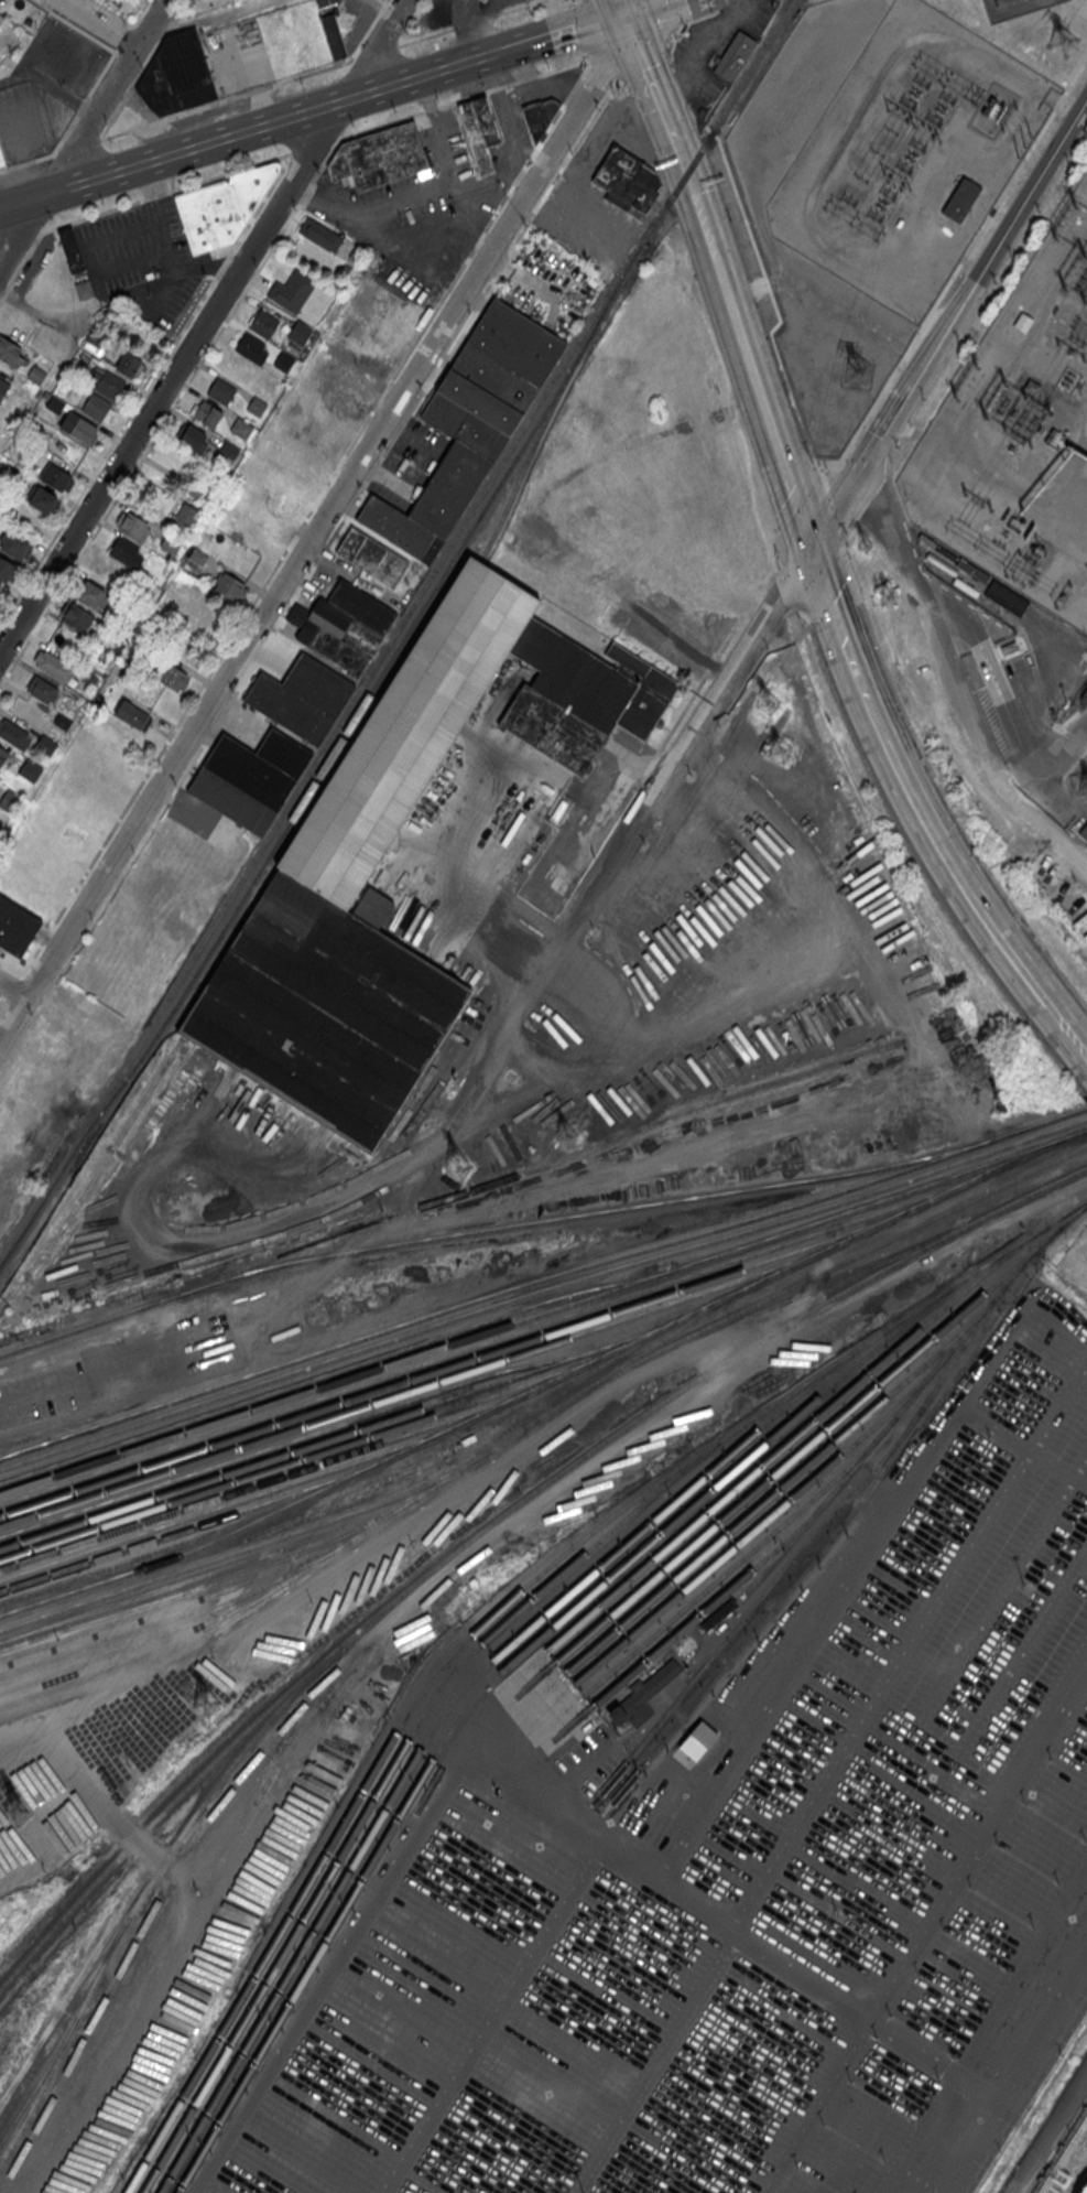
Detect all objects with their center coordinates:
building: (481, 0)
building: (486, 0)
building: (326, 2)
road: (578, 2)
road: (383, 7)
power substation: (1013, 7)
road: (653, 8)
road: (624, 9)
road: (457, 11)
road: (115, 12)
road: (139, 13)
road: (1068, 17)
road: (1083, 17)
traffic signals: (629, 18)
road: (660, 18)
road: (202, 20)
road: (475, 20)
road: (470, 22)
road: (95, 24)
road: (75, 26)
road: (140, 28)
road: (368, 30)
road: (584, 30)
road: (574, 31)
building: (334, 35)
road: (123, 37)
power tower: (1063, 41)
road: (667, 42)
road: (374, 45)
road: (61, 51)
road: (501, 51)
road: (376, 52)
parking lot: (66, 54)
road: (628, 54)
building: (732, 54)
road: (122, 56)
road: (587, 56)
road: (590, 61)
road: (23, 65)
road: (142, 71)
road: (101, 73)
building: (176, 75)
road: (601, 75)
road: (651, 77)
road: (555, 86)
road: (683, 88)
road: (56, 89)
road: (81, 104)
road: (1061, 104)
road: (191, 111)
building: (539, 117)
parking lot: (24, 118)
road: (24, 128)
road: (240, 128)
building: (480, 130)
road: (711, 131)
road: (64, 132)
road: (83, 134)
road: (515, 137)
building: (379, 154)
power substation: (907, 154)
road: (446, 156)
building: (1, 159)
road: (256, 163)
road: (21, 164)
road: (683, 165)
road: (7, 169)
road: (525, 172)
road: (26, 179)
road: (149, 179)
building: (628, 179)
road: (157, 195)
road: (395, 198)
building: (959, 198)
building: (222, 206)
power tower: (1075, 210)
road: (93, 216)
road: (423, 229)
road: (121, 231)
building: (319, 234)
road: (34, 237)
road: (36, 238)
power tower: (1057, 242)
road: (385, 246)
building: (72, 250)
parking lot: (138, 251)
building: (358, 251)
road: (171, 259)
road: (130, 262)
road: (20, 266)
road: (90, 271)
road: (956, 271)
road: (29, 272)
road: (167, 278)
building: (84, 289)
building: (291, 290)
road: (3, 292)
road: (239, 301)
road: (774, 303)
road: (28, 305)
building: (1023, 322)
building: (263, 323)
road: (949, 326)
building: (300, 332)
building: (251, 347)
building: (10, 352)
building: (80, 358)
building: (283, 361)
building: (128, 364)
road: (751, 370)
road: (172, 371)
power tower: (858, 372)
building: (36, 374)
power tower: (975, 374)
building: (492, 378)
building: (105, 380)
building: (3, 387)
road: (144, 389)
building: (220, 390)
building: (55, 403)
building: (257, 404)
power tower: (955, 406)
building: (96, 408)
building: (207, 413)
power tower: (983, 418)
building: (78, 426)
building: (241, 426)
road: (906, 428)
power substation: (1019, 431)
building: (194, 437)
road: (392, 442)
building: (228, 450)
traffic signals: (871, 455)
railway: (524, 464)
building: (54, 475)
building: (449, 488)
road: (797, 496)
building: (40, 497)
road: (826, 503)
road: (306, 517)
building: (182, 518)
road: (896, 525)
building: (132, 526)
building: (395, 526)
road: (317, 529)
road: (771, 530)
road: (764, 540)
building: (171, 542)
building: (13, 543)
power tower: (866, 547)
traffic signals: (809, 550)
building: (126, 552)
building: (197, 555)
building: (372, 557)
building: (166, 569)
building: (6, 571)
road: (769, 574)
building: (229, 585)
building: (93, 594)
road: (783, 594)
road: (825, 596)
building: (1007, 597)
power tower: (888, 598)
building: (361, 606)
road: (945, 611)
building: (75, 616)
railway: (394, 631)
building: (335, 634)
road: (730, 634)
road: (711, 665)
building: (53, 666)
road: (852, 671)
building: (172, 676)
road: (999, 676)
building: (89, 677)
road: (989, 682)
building: (317, 684)
building: (43, 689)
power tower: (769, 704)
railway: (360, 705)
building: (289, 709)
road: (682, 713)
building: (133, 715)
building: (63, 721)
road: (874, 724)
building: (14, 733)
building: (46, 744)
road: (979, 748)
power tower: (781, 750)
building: (284, 753)
building: (3, 754)
road: (1055, 754)
road: (653, 759)
road: (638, 761)
building: (31, 769)
building: (250, 771)
road: (938, 785)
road: (1045, 791)
railway: (329, 799)
building: (11, 800)
building: (232, 801)
building: (1084, 832)
road: (627, 849)
building: (313, 881)
road: (977, 907)
building: (15, 927)
road: (12, 970)
road: (30, 979)
road: (13, 986)
road: (14, 987)
road: (3, 1001)
road: (3, 1003)
road: (13, 1006)
railway: (887, 1066)
railway: (1074, 1112)
railway: (1077, 1121)
railway: (1080, 1132)
power tower: (566, 1139)
railway: (1084, 1144)
railway: (559, 1158)
power tower: (458, 1170)
railway: (95, 1175)
railway: (1025, 1196)
road: (317, 1206)
railway: (491, 1229)
railway: (529, 1282)
railway: (820, 1285)
railway: (532, 1290)
road: (1062, 1310)
railway: (537, 1314)
railway: (684, 1324)
railway: (491, 1341)
railway: (454, 1364)
railway: (336, 1370)
railway: (416, 1385)
railway: (536, 1385)
railway: (523, 1425)
railway: (337, 1436)
railway: (297, 1437)
road: (1022, 1446)
railway: (25, 1447)
railway: (779, 1451)
railway: (796, 1456)
railway: (301, 1458)
road: (1081, 1469)
railway: (263, 1481)
railway: (776, 1490)
railway: (867, 1491)
railway: (227, 1504)
railway: (805, 1522)
railway: (188, 1528)
railway: (753, 1528)
railway: (246, 1546)
railway: (444, 1558)
railway: (725, 1573)
railway: (210, 1581)
road: (848, 1586)
railway: (772, 1590)
railway: (508, 1602)
railway: (180, 1605)
railway: (178, 1621)
road: (911, 1644)
railway: (143, 1648)
railway: (110, 1675)
railway: (476, 1694)
building: (643, 1696)
power tower: (206, 1700)
railway: (430, 1733)
building: (698, 1739)
road: (568, 1782)
railway: (380, 1786)
power tower: (19, 1811)
railway: (155, 1872)
parking lot: (749, 1879)
road: (926, 1933)
road: (779, 1960)
road: (524, 1975)
road: (325, 1985)
railway: (65, 2040)
road: (1002, 2060)
road: (656, 2063)
railway: (39, 2079)
road: (1017, 2082)
road: (1051, 2136)
building: (1085, 2190)
storage tank: (1085, 2190)

